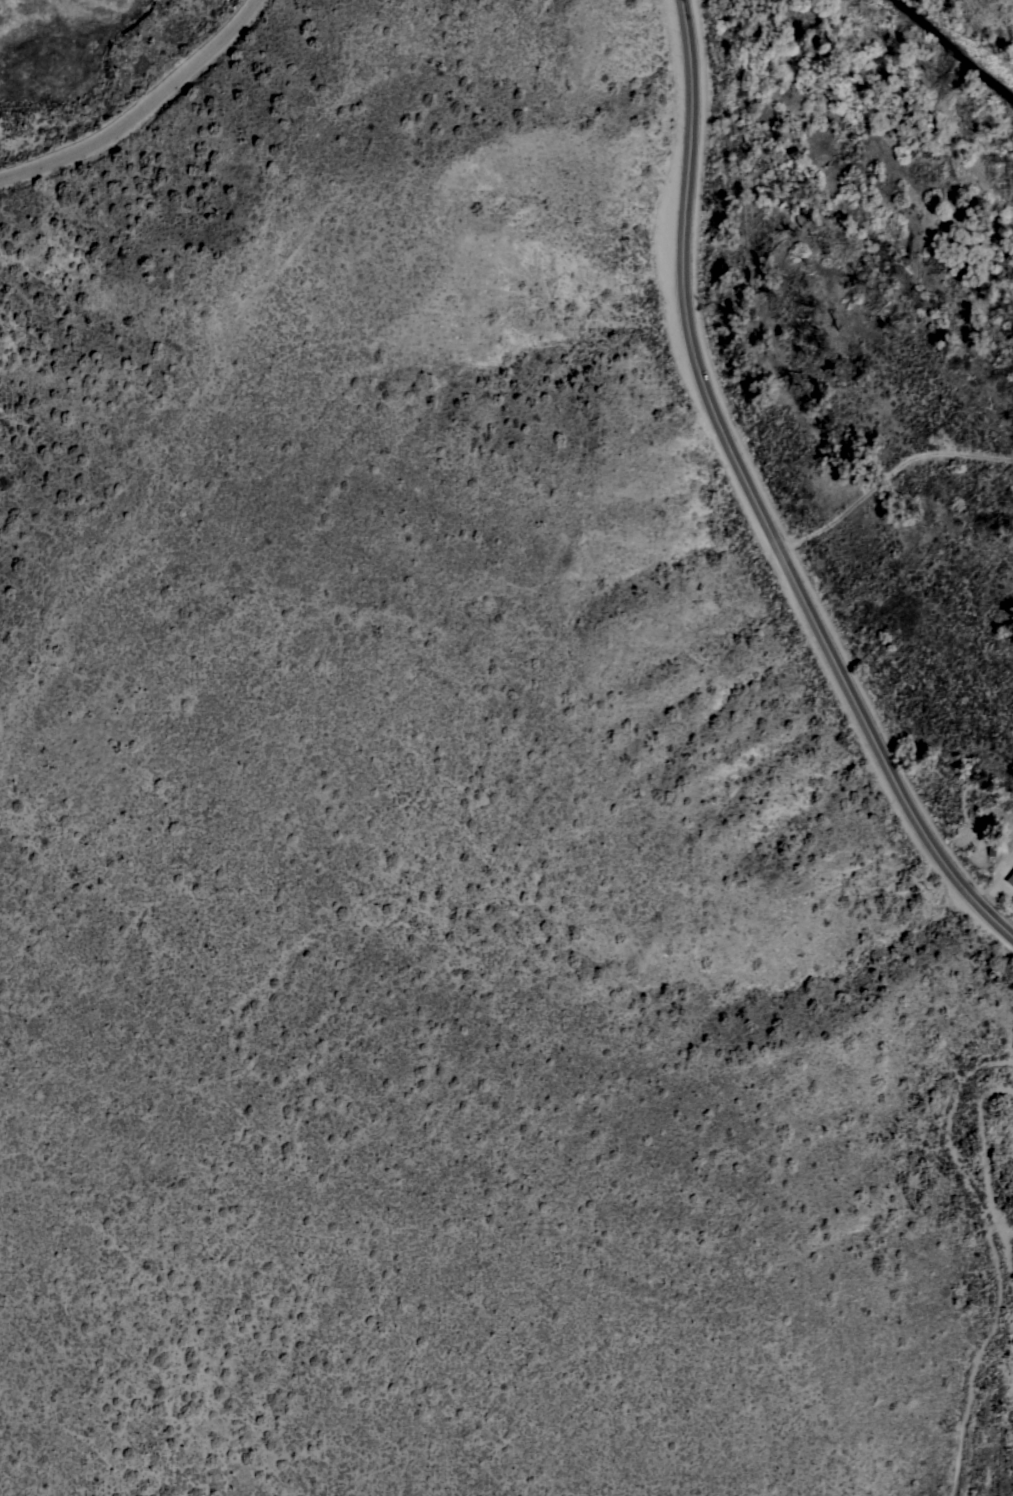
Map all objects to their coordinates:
road: (141, 108)
road: (752, 499)
road: (375, 742)
building: (1010, 878)

